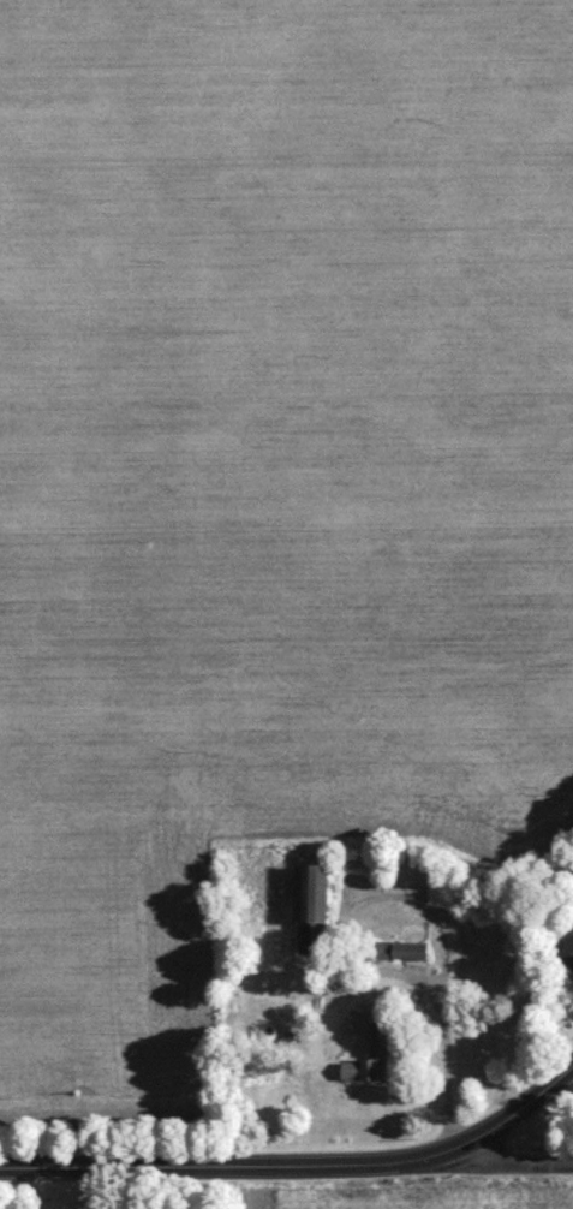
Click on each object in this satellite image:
building: (310, 913)
building: (566, 957)
building: (366, 1066)
road: (505, 1116)
road: (499, 1159)
road: (213, 1166)

